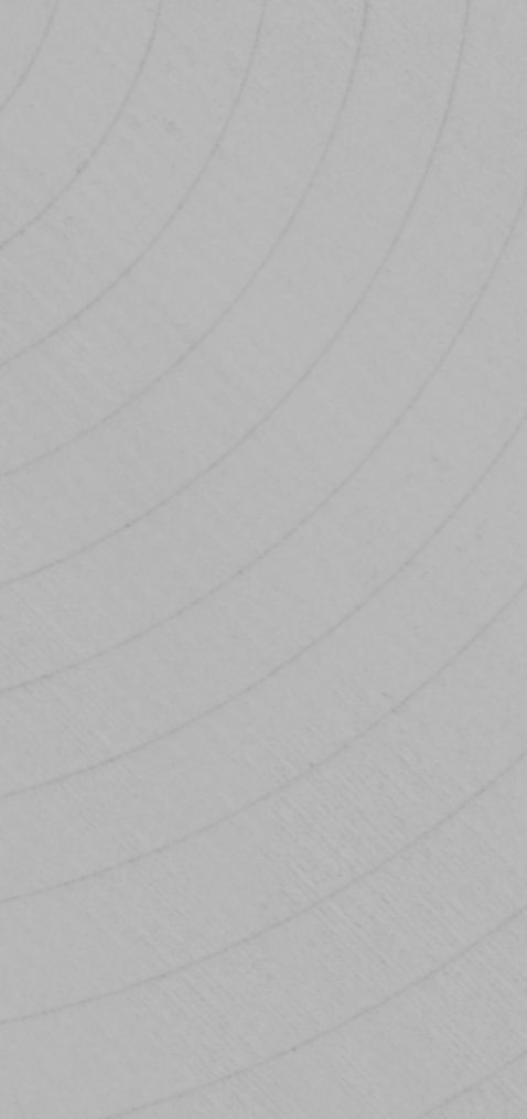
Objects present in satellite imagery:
building: (28, 361)
building: (515, 434)
building: (526, 560)

